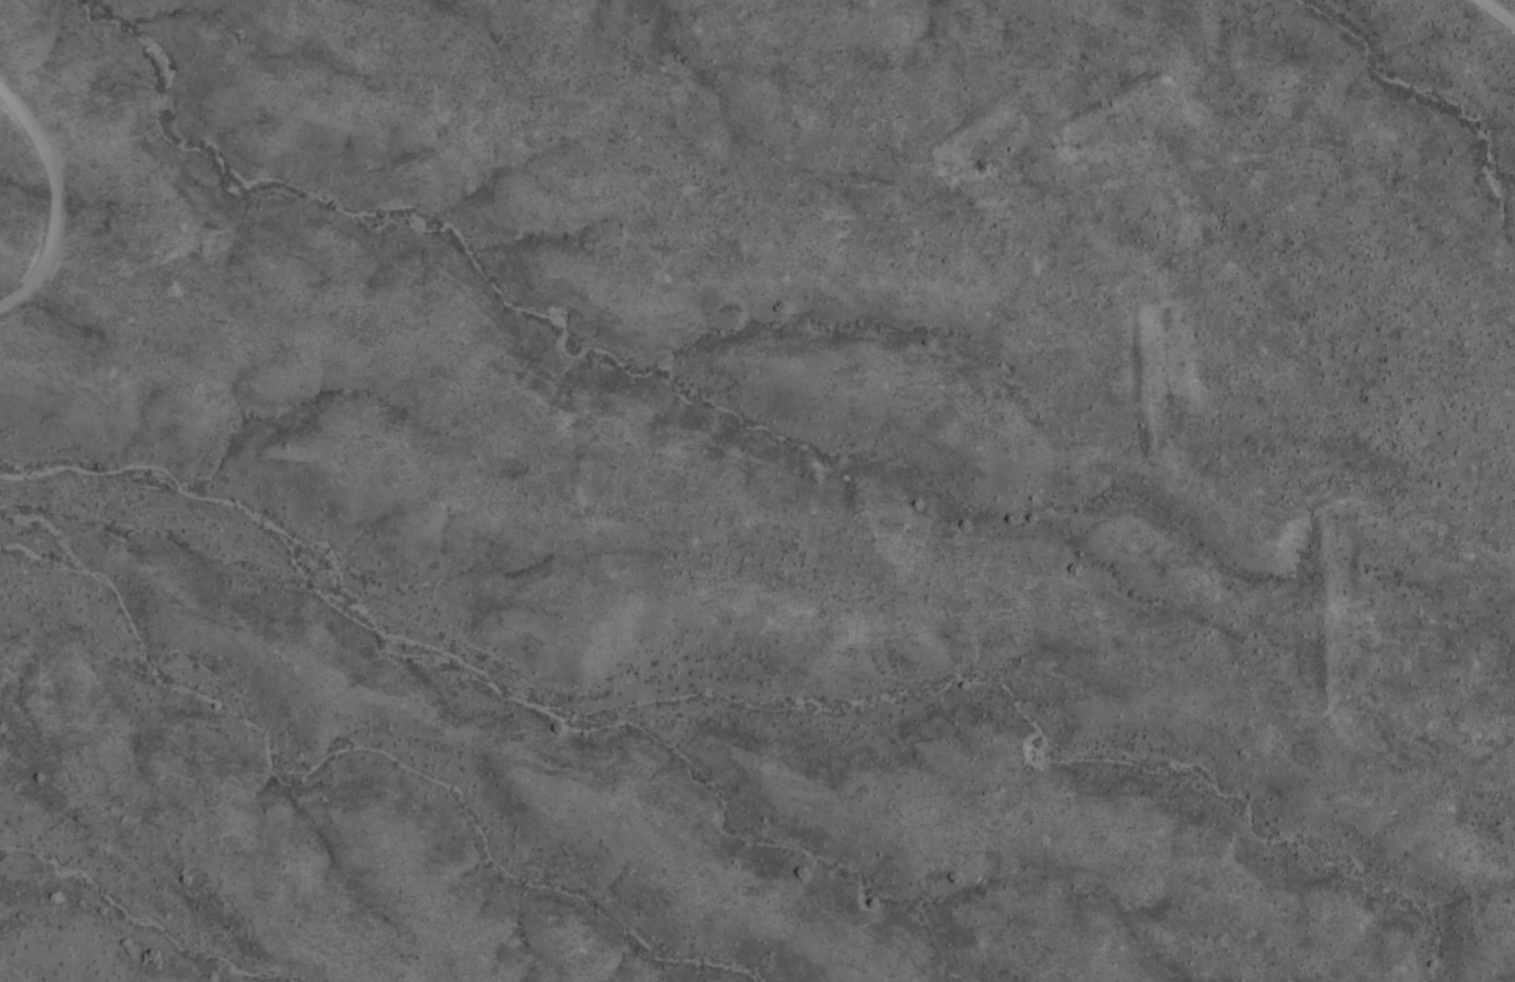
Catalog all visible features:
road: (53, 197)

